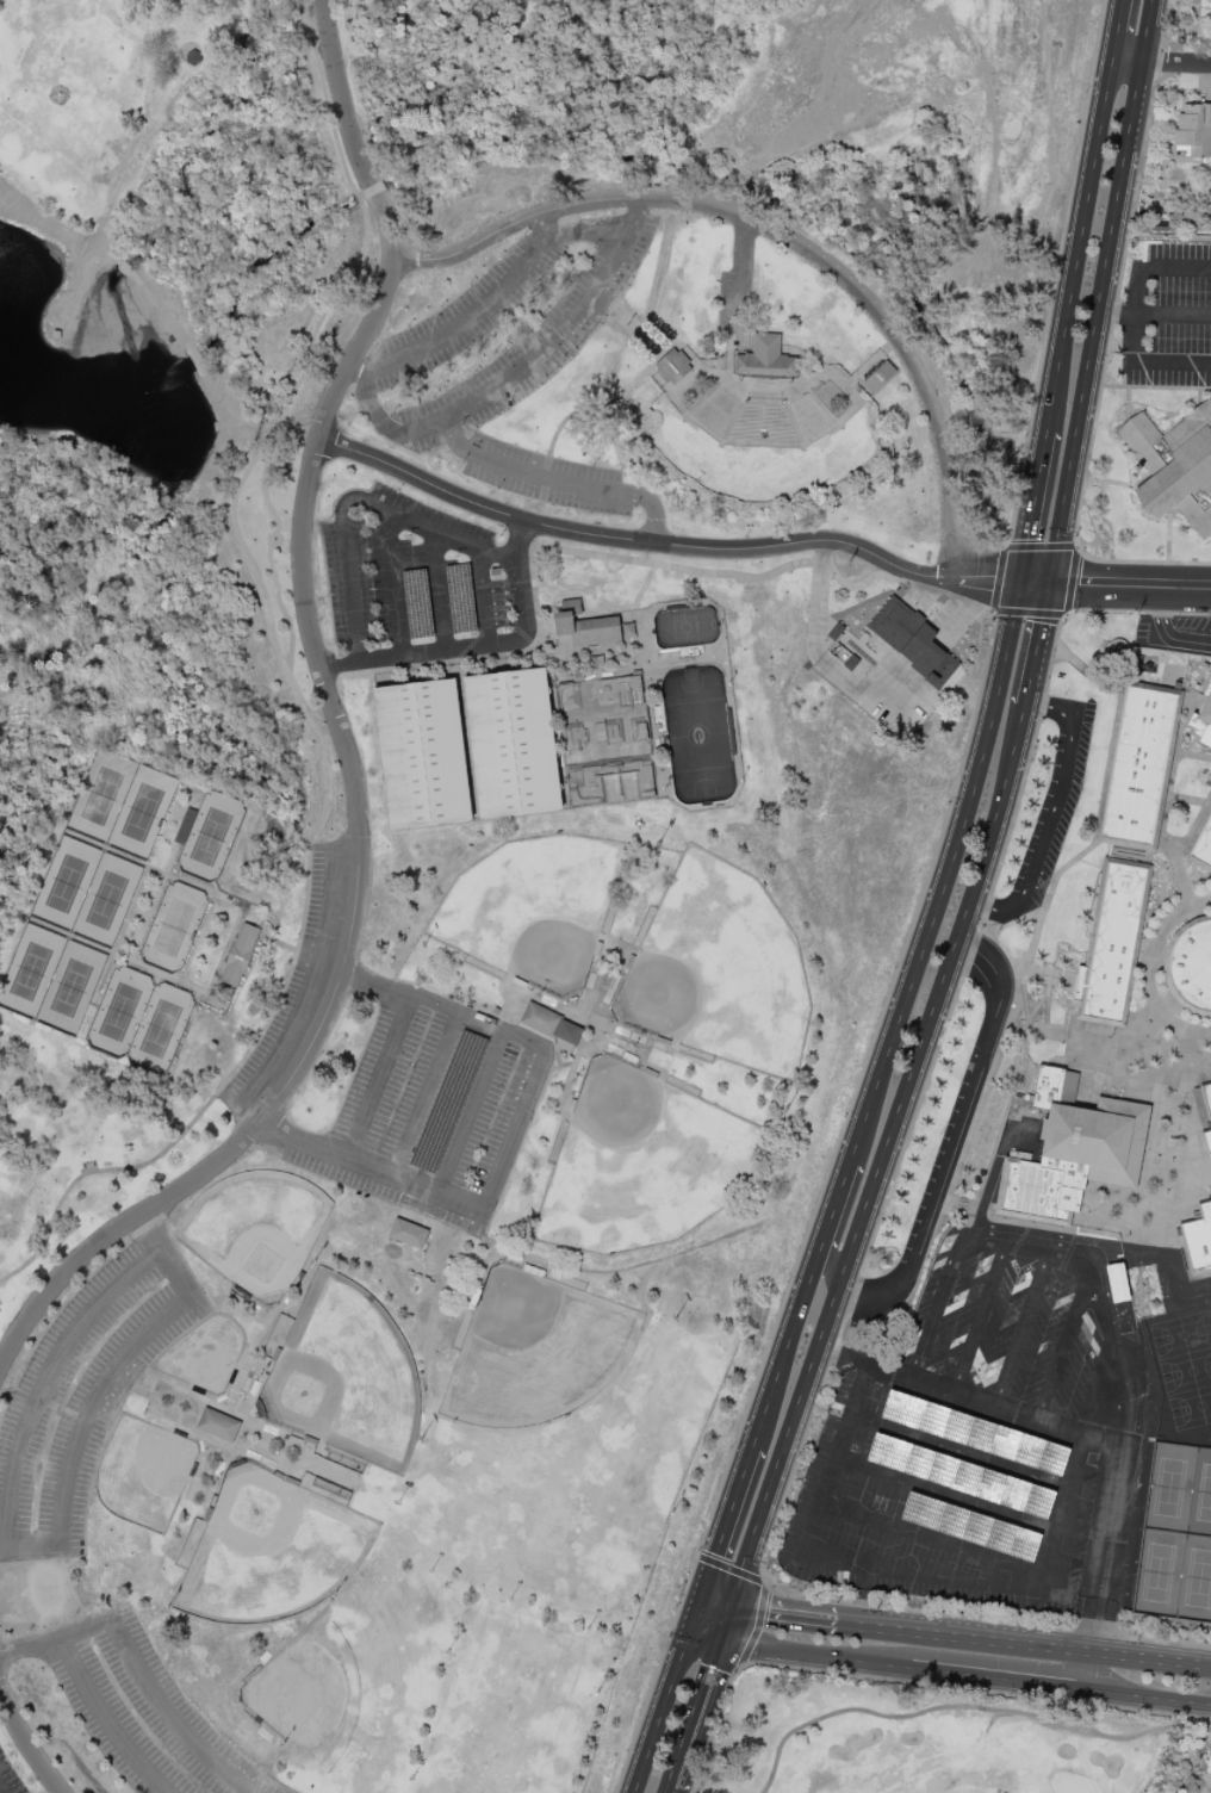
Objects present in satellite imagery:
building: (1207, 1)
road: (305, 19)
road: (1116, 29)
building: (193, 57)
road: (1160, 61)
road: (342, 93)
road: (743, 99)
road: (330, 117)
building: (1194, 130)
road: (572, 185)
road: (373, 193)
road: (8, 198)
road: (358, 200)
road: (563, 205)
road: (575, 231)
road: (1078, 244)
road: (104, 258)
road: (1175, 268)
road: (662, 271)
road: (741, 279)
road: (1055, 284)
road: (1101, 291)
road: (1117, 314)
road: (1135, 314)
road: (1173, 314)
road: (466, 319)
building: (62, 330)
parking lot: (501, 331)
road: (639, 331)
road: (549, 342)
road: (1108, 342)
road: (195, 361)
building: (766, 361)
road: (909, 361)
road: (1170, 361)
building: (672, 368)
building: (878, 377)
road: (1156, 387)
road: (620, 396)
road: (369, 403)
road: (231, 410)
road: (296, 434)
building: (1174, 466)
parking lot: (546, 477)
road: (557, 482)
road: (1111, 482)
road: (265, 486)
road: (356, 498)
road: (1032, 505)
road: (629, 539)
road: (1007, 547)
parking lot: (410, 573)
road: (769, 573)
road: (985, 578)
traffic signals: (1019, 581)
traffic signals: (1050, 583)
road: (393, 584)
road: (1114, 585)
road: (439, 593)
road: (483, 597)
parking lot: (920, 598)
road: (1062, 614)
road: (963, 615)
building: (583, 627)
building: (834, 632)
road: (1166, 634)
building: (912, 640)
road: (479, 645)
road: (1036, 650)
road: (502, 654)
road: (825, 663)
building: (617, 693)
road: (340, 695)
road: (330, 700)
road: (312, 708)
building: (1201, 724)
building: (613, 732)
building: (573, 737)
park: (605, 740)
building: (511, 744)
building: (421, 755)
building: (1137, 767)
building: (608, 783)
road: (325, 789)
road: (1186, 799)
park: (120, 804)
park: (460, 812)
road: (1165, 812)
road: (1054, 813)
building: (184, 826)
park: (210, 837)
road: (358, 838)
building: (1200, 843)
road: (170, 860)
road: (153, 869)
road: (945, 875)
road: (1180, 876)
road: (213, 887)
road: (1050, 889)
park: (85, 893)
road: (131, 912)
road: (144, 917)
road: (1012, 922)
park: (172, 927)
road: (237, 927)
road: (248, 932)
road: (994, 939)
building: (1112, 943)
road: (279, 944)
road: (226, 950)
road: (1144, 954)
building: (238, 955)
road: (117, 956)
building: (1190, 967)
road: (1149, 969)
park: (50, 979)
road: (104, 979)
road: (1038, 985)
road: (195, 995)
road: (445, 1006)
building: (539, 1019)
park: (138, 1020)
road: (1167, 1049)
road: (379, 1079)
building: (1047, 1087)
road: (427, 1094)
road: (983, 1097)
parking lot: (431, 1109)
road: (470, 1111)
building: (1207, 1131)
road: (298, 1140)
road: (946, 1158)
building: (1074, 1160)
road: (881, 1161)
road: (816, 1204)
road: (833, 1209)
building: (408, 1234)
building: (1198, 1240)
road: (870, 1246)
road: (1051, 1247)
road: (980, 1316)
road: (1023, 1327)
park: (478, 1333)
road: (1063, 1342)
road: (783, 1353)
park: (1186, 1367)
road: (45, 1379)
road: (100, 1388)
parking lot: (85, 1391)
road: (968, 1397)
parking lot: (974, 1423)
building: (217, 1426)
road: (960, 1450)
park: (1169, 1489)
road: (946, 1494)
park: (1200, 1496)
road: (726, 1522)
road: (933, 1538)
road: (1100, 1569)
road: (899, 1574)
park: (1159, 1574)
park: (1194, 1582)
road: (766, 1588)
traffic signals: (703, 1592)
road: (716, 1596)
road: (862, 1597)
traffic signals: (731, 1602)
road: (698, 1607)
road: (725, 1618)
road: (782, 1618)
traffic signals: (694, 1623)
road: (707, 1628)
traffic signals: (720, 1634)
road: (1024, 1645)
road: (813, 1656)
road: (136, 1665)
road: (996, 1680)
road: (727, 1692)
road: (1147, 1698)
road: (664, 1707)
parking lot: (138, 1710)
road: (693, 1710)
road: (106, 1719)
park: (923, 1723)
road: (27, 1743)
parking lot: (10, 1776)
road: (2, 1788)
road: (665, 1789)

